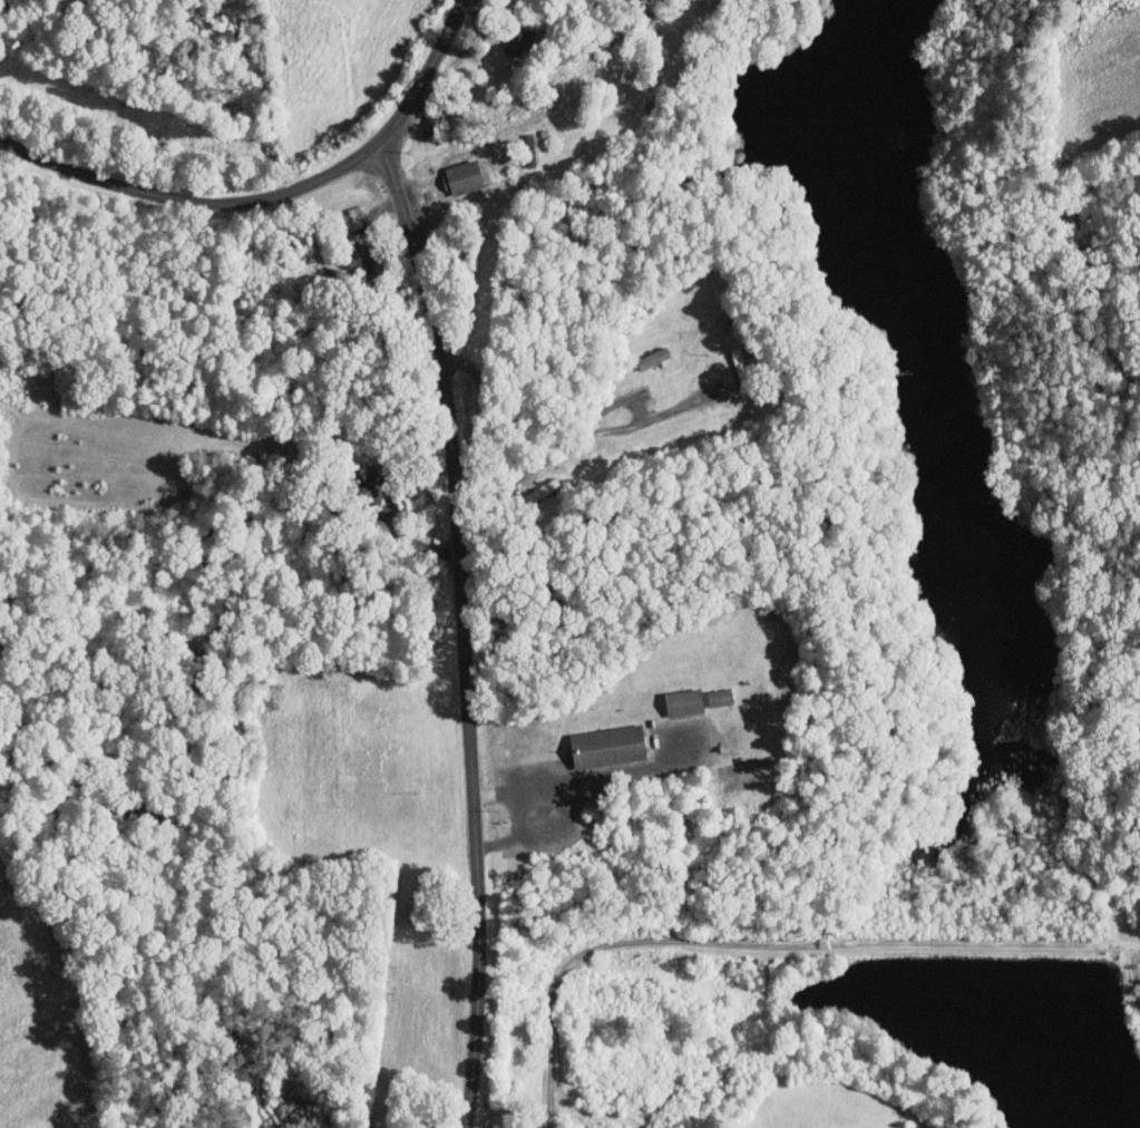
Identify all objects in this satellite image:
building: (517, 39)
road: (431, 175)
building: (460, 176)
road: (273, 197)
road: (563, 449)
building: (371, 485)
road: (464, 632)
building: (682, 701)
building: (605, 745)
road: (577, 784)

